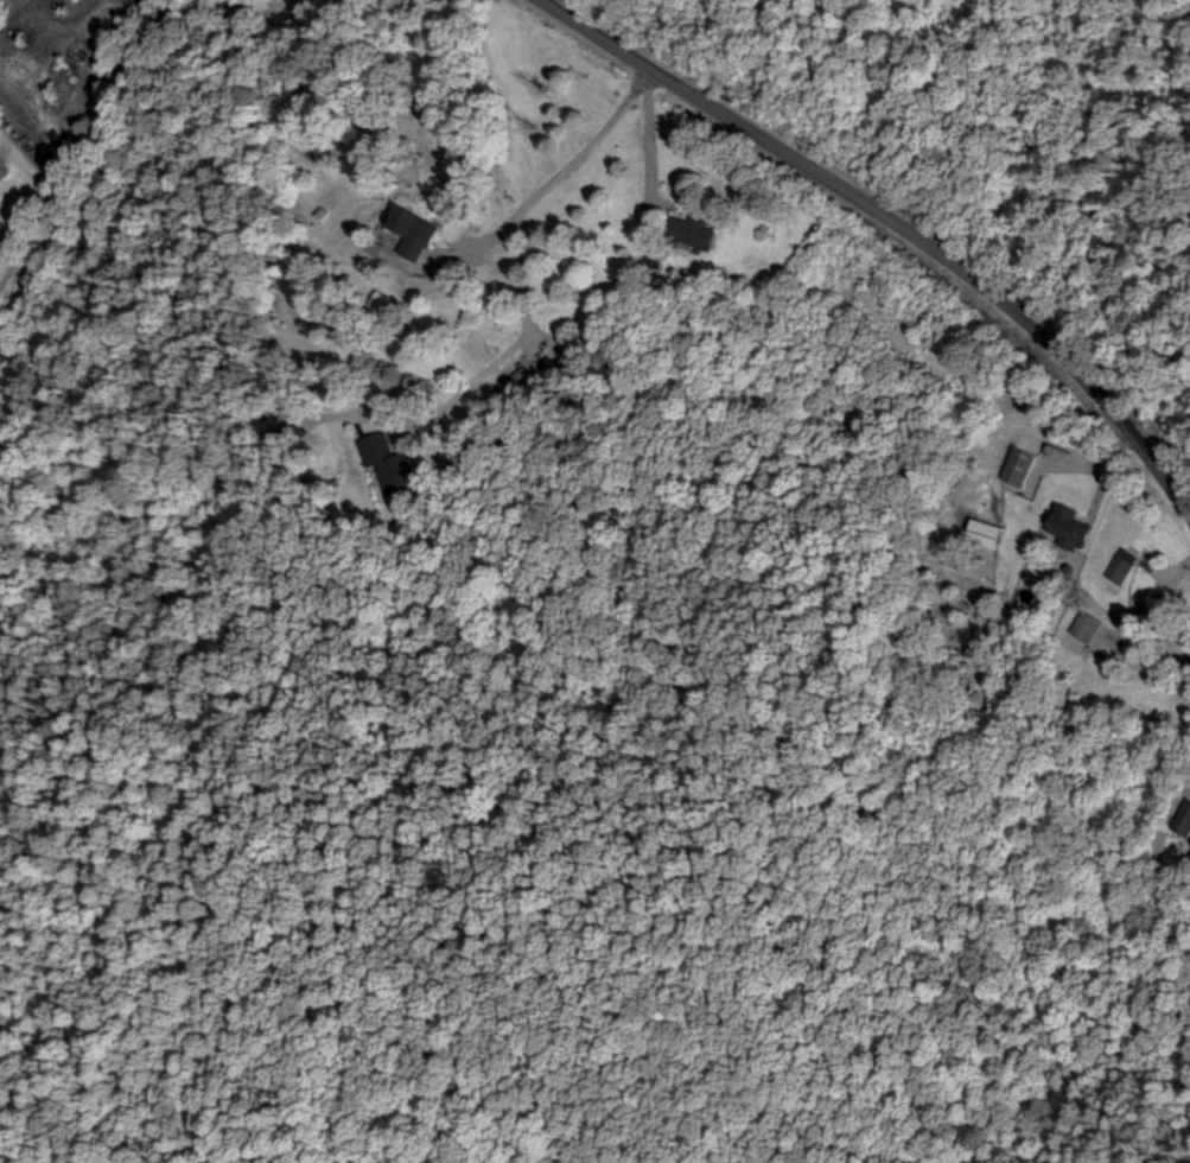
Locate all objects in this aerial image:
road: (110, 120)
road: (899, 223)
building: (419, 231)
building: (695, 231)
building: (390, 463)
building: (1024, 466)
building: (1073, 526)
building: (988, 532)
building: (1120, 566)
building: (1087, 624)

